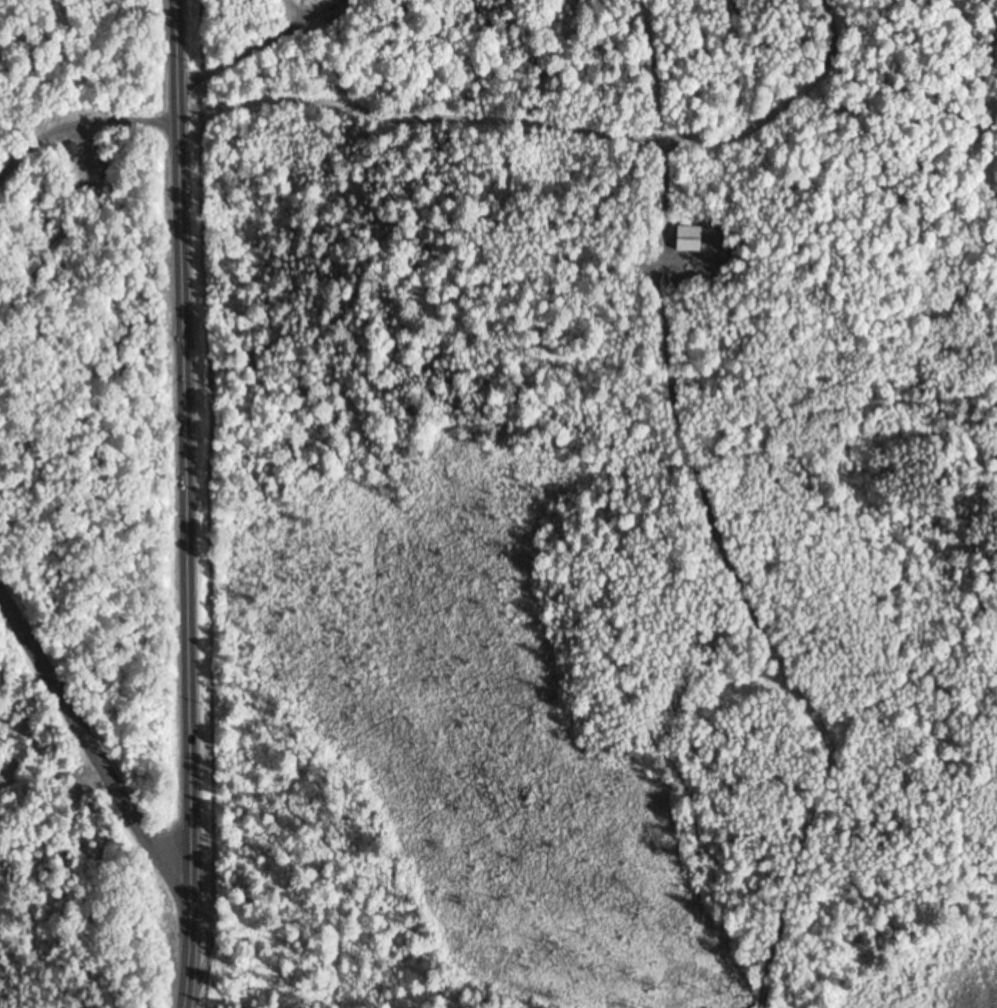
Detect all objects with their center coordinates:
road: (182, 504)
road: (92, 766)

